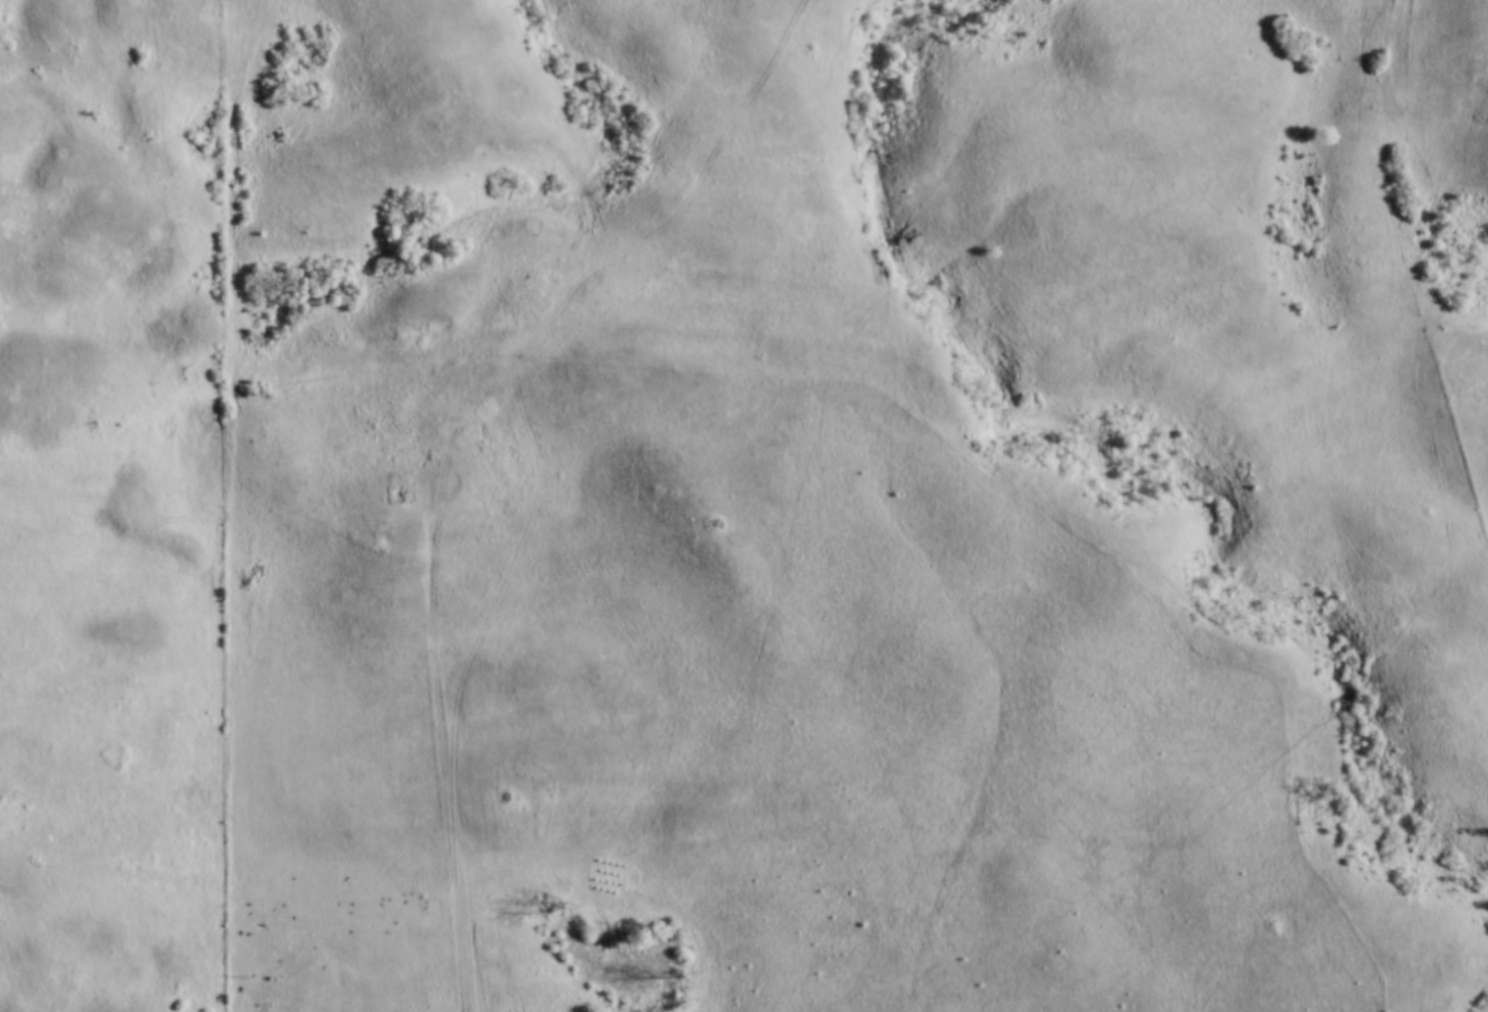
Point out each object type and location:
road: (350, 989)

